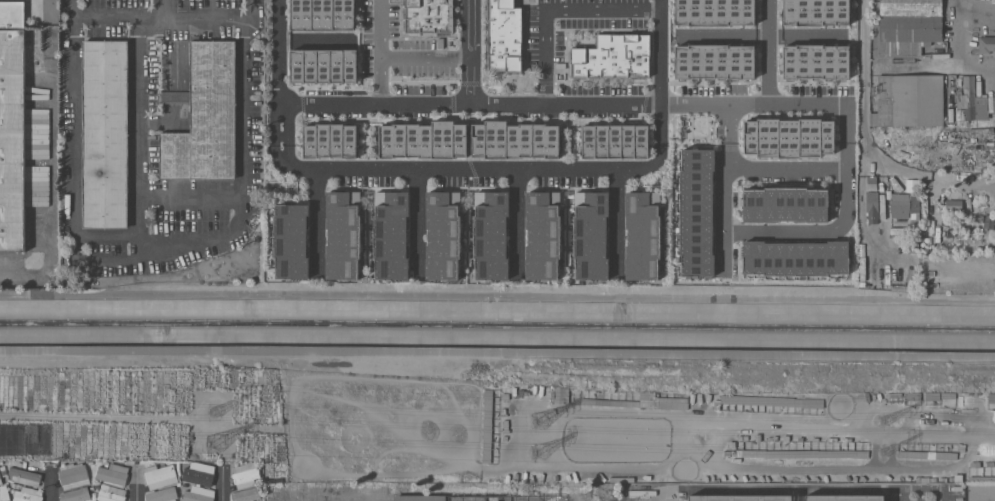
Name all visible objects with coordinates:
road: (255, 8)
road: (162, 9)
road: (74, 10)
road: (554, 10)
building: (816, 11)
building: (714, 12)
road: (974, 13)
building: (322, 14)
building: (429, 16)
road: (165, 18)
building: (909, 26)
building: (504, 36)
road: (754, 37)
building: (986, 45)
road: (379, 52)
road: (469, 52)
road: (956, 52)
road: (770, 53)
building: (614, 57)
road: (424, 58)
building: (715, 60)
building: (816, 60)
building: (324, 65)
building: (909, 101)
building: (962, 102)
road: (564, 105)
road: (250, 107)
building: (983, 108)
building: (205, 118)
road: (863, 120)
building: (12, 126)
building: (105, 134)
building: (790, 137)
building: (36, 138)
road: (138, 138)
building: (425, 139)
building: (515, 139)
building: (616, 140)
road: (73, 141)
building: (331, 141)
road: (52, 162)
road: (471, 167)
road: (786, 170)
building: (39, 186)
road: (724, 190)
building: (786, 205)
building: (953, 206)
building: (871, 207)
building: (905, 208)
building: (697, 212)
road: (316, 221)
road: (419, 222)
road: (517, 222)
road: (616, 223)
road: (842, 225)
building: (392, 236)
building: (641, 236)
building: (342, 237)
building: (442, 237)
building: (492, 237)
building: (542, 237)
building: (591, 237)
building: (291, 240)
road: (173, 249)
building: (797, 258)
building: (668, 403)
power tower: (214, 412)
power tower: (536, 422)
power tower: (890, 423)
road: (839, 428)
power tower: (218, 446)
power tower: (890, 451)
power tower: (534, 454)
building: (72, 475)
building: (113, 475)
building: (245, 475)
building: (24, 476)
building: (200, 476)
building: (0, 481)
building: (161, 483)
road: (49, 485)
road: (136, 486)
road: (224, 486)
building: (979, 492)
building: (4, 493)
building: (112, 494)
building: (197, 494)
building: (245, 494)
building: (27, 495)
building: (77, 495)
road: (903, 496)
road: (941, 497)
building: (478, 498)
building: (741, 498)
building: (845, 498)

